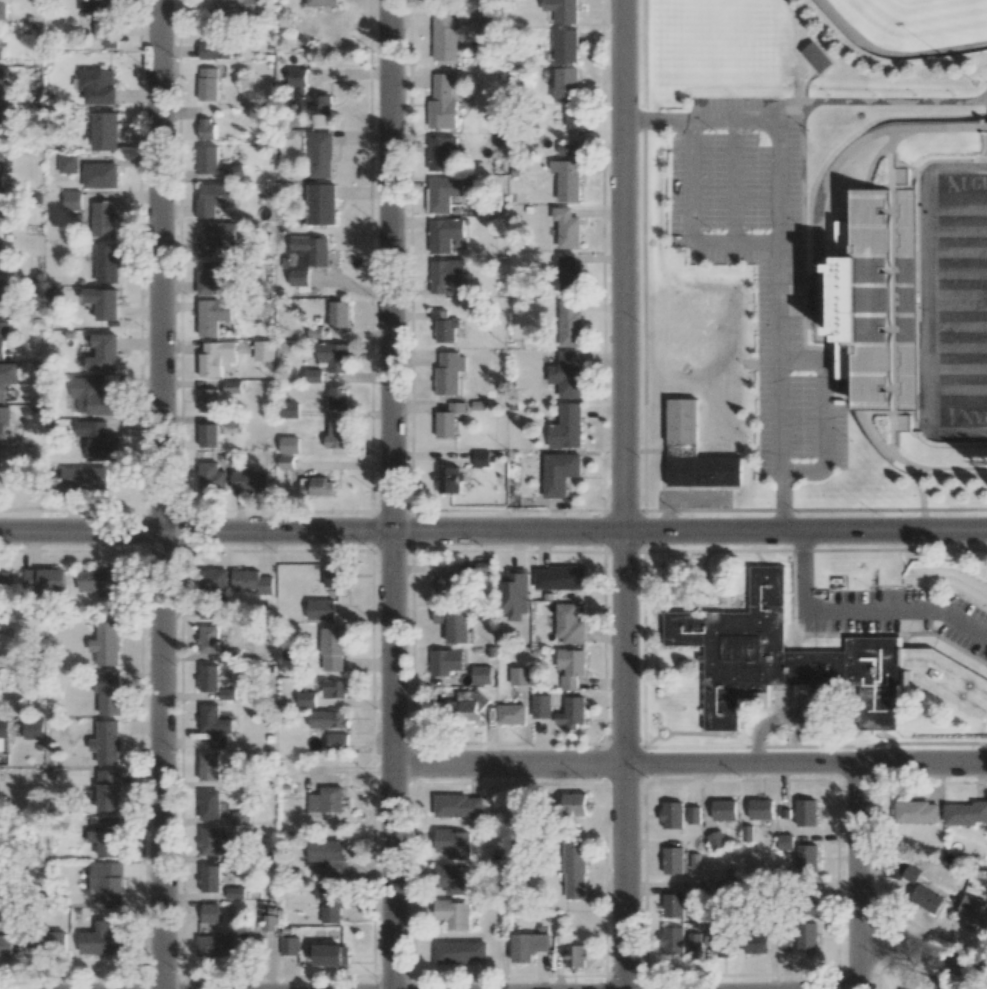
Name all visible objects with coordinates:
building: (323, 3)
building: (3, 9)
building: (233, 10)
building: (564, 10)
building: (101, 17)
building: (481, 21)
park: (911, 26)
building: (445, 36)
building: (567, 46)
park: (808, 49)
building: (215, 50)
building: (816, 57)
building: (298, 76)
building: (208, 84)
building: (567, 84)
building: (3, 86)
building: (98, 86)
building: (312, 103)
building: (443, 103)
building: (576, 119)
road: (656, 124)
building: (0, 127)
building: (206, 128)
building: (105, 131)
building: (568, 149)
building: (440, 152)
building: (320, 155)
building: (208, 159)
building: (67, 163)
building: (1, 171)
building: (100, 175)
building: (902, 175)
building: (567, 179)
road: (734, 188)
building: (447, 192)
building: (215, 198)
building: (72, 200)
building: (321, 204)
building: (4, 212)
building: (103, 219)
building: (567, 228)
road: (690, 228)
building: (444, 234)
building: (215, 237)
road: (779, 253)
building: (0, 255)
building: (306, 257)
parking lot: (757, 261)
building: (107, 263)
road: (392, 265)
road: (623, 266)
building: (568, 274)
building: (446, 275)
building: (214, 276)
building: (5, 290)
stadium: (909, 290)
building: (876, 299)
park: (959, 299)
building: (103, 302)
building: (339, 314)
building: (212, 315)
building: (571, 323)
building: (443, 325)
building: (3, 337)
building: (263, 351)
building: (104, 353)
building: (334, 356)
building: (212, 360)
building: (449, 373)
building: (567, 374)
building: (8, 377)
building: (231, 386)
building: (92, 397)
building: (338, 397)
building: (208, 400)
building: (289, 410)
road: (827, 417)
building: (448, 420)
building: (3, 422)
building: (231, 422)
building: (903, 423)
building: (567, 427)
building: (208, 435)
building: (337, 435)
building: (98, 440)
building: (290, 445)
building: (694, 453)
building: (481, 458)
building: (560, 473)
building: (84, 478)
building: (212, 478)
building: (449, 479)
building: (250, 480)
building: (321, 487)
road: (163, 494)
road: (779, 501)
road: (493, 530)
building: (334, 575)
building: (559, 578)
building: (216, 579)
building: (44, 580)
building: (100, 581)
building: (448, 581)
building: (4, 582)
building: (252, 582)
building: (513, 594)
building: (321, 609)
road: (858, 609)
parking lot: (892, 615)
building: (569, 624)
building: (452, 625)
building: (209, 639)
building: (106, 644)
building: (333, 649)
building: (446, 661)
building: (808, 663)
building: (571, 667)
building: (519, 676)
building: (209, 678)
building: (335, 689)
building: (109, 692)
building: (306, 699)
building: (462, 706)
building: (541, 706)
building: (572, 712)
building: (511, 714)
building: (328, 719)
building: (215, 725)
building: (33, 728)
building: (3, 735)
building: (108, 742)
building: (337, 742)
road: (393, 759)
road: (625, 760)
building: (209, 767)
road: (690, 767)
building: (108, 790)
building: (326, 800)
building: (210, 804)
building: (575, 804)
building: (458, 806)
building: (761, 809)
building: (525, 810)
building: (724, 810)
building: (806, 812)
building: (917, 812)
building: (965, 813)
building: (672, 815)
building: (693, 815)
building: (240, 818)
building: (106, 836)
building: (716, 840)
building: (209, 841)
building: (785, 842)
building: (453, 843)
building: (325, 850)
building: (807, 858)
building: (673, 860)
building: (574, 872)
building: (910, 873)
road: (864, 877)
building: (209, 878)
building: (453, 878)
building: (106, 882)
building: (697, 887)
building: (235, 893)
building: (926, 899)
building: (330, 902)
building: (673, 905)
building: (974, 911)
building: (209, 912)
building: (453, 914)
building: (269, 922)
building: (807, 937)
building: (101, 940)
building: (672, 941)
building: (44, 942)
building: (756, 943)
building: (5, 945)
building: (288, 945)
building: (211, 946)
building: (248, 946)
building: (527, 946)
building: (721, 946)
building: (694, 947)
road: (917, 950)
building: (460, 952)
building: (331, 955)
building: (576, 955)

